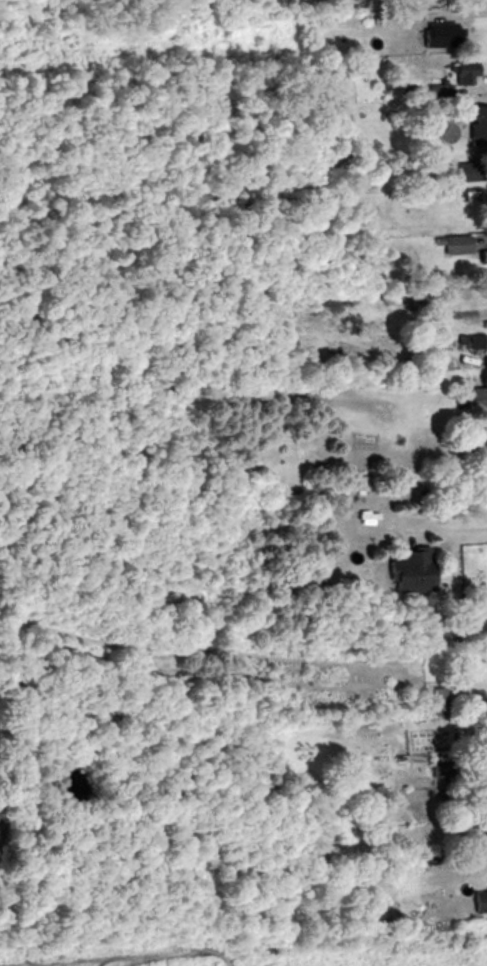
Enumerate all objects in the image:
building: (436, 34)
building: (447, 77)
building: (476, 126)
building: (467, 171)
building: (486, 198)
building: (454, 245)
building: (486, 255)
road: (447, 512)
building: (407, 571)
building: (486, 656)
building: (432, 699)
building: (477, 902)

